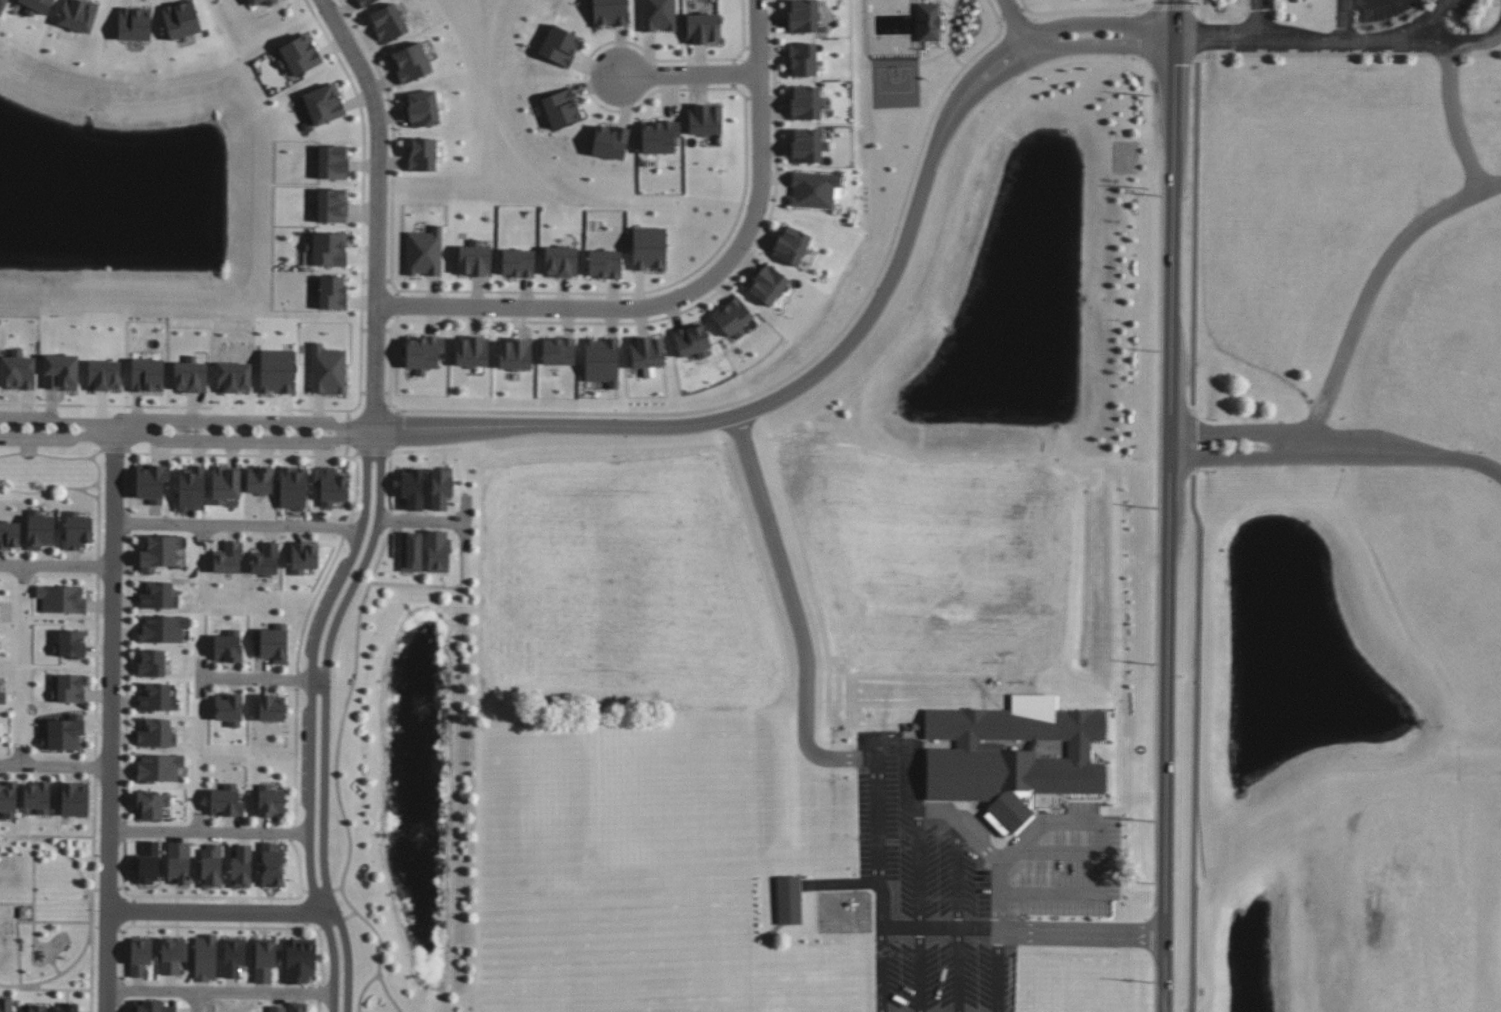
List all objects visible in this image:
building: (365, 2)
road: (1354, 2)
building: (254, 4)
building: (38, 5)
building: (2, 6)
road: (1202, 9)
building: (609, 13)
building: (78, 15)
building: (658, 15)
building: (803, 16)
road: (1346, 18)
building: (181, 19)
road: (1261, 19)
building: (928, 22)
road: (1014, 22)
building: (388, 23)
building: (134, 24)
building: (702, 28)
road: (1318, 38)
road: (1199, 39)
road: (1445, 41)
building: (559, 45)
building: (299, 55)
building: (802, 59)
building: (410, 62)
road: (691, 67)
building: (805, 102)
building: (324, 104)
building: (561, 108)
building: (422, 109)
building: (704, 119)
building: (659, 136)
building: (610, 142)
building: (807, 146)
building: (422, 154)
building: (332, 162)
building: (813, 189)
building: (332, 205)
road: (377, 219)
road: (1410, 232)
building: (791, 245)
building: (649, 248)
building: (328, 249)
building: (424, 252)
building: (474, 259)
building: (560, 261)
building: (518, 263)
building: (604, 264)
building: (767, 285)
road: (688, 288)
building: (332, 292)
building: (734, 318)
building: (692, 340)
road: (838, 349)
building: (471, 351)
building: (558, 351)
building: (423, 353)
building: (515, 354)
building: (647, 355)
building: (602, 361)
building: (327, 370)
building: (17, 371)
building: (277, 371)
building: (60, 372)
building: (104, 375)
building: (147, 375)
building: (190, 375)
building: (234, 377)
parking lot: (26, 416)
parking lot: (214, 420)
road: (48, 421)
road: (245, 425)
road: (119, 430)
road: (348, 434)
road: (48, 436)
road: (244, 439)
parking lot: (34, 441)
parking lot: (246, 444)
road: (1338, 446)
road: (114, 449)
road: (347, 451)
road: (373, 451)
road: (273, 454)
road: (355, 454)
road: (51, 456)
building: (260, 482)
road: (130, 484)
building: (149, 484)
building: (226, 485)
building: (441, 487)
road: (50, 488)
building: (190, 488)
building: (330, 488)
building: (412, 488)
building: (291, 491)
road: (90, 493)
road: (1171, 505)
road: (98, 507)
road: (393, 520)
road: (423, 521)
road: (467, 521)
road: (129, 522)
road: (239, 526)
building: (75, 529)
building: (37, 531)
road: (345, 531)
road: (203, 533)
building: (10, 535)
road: (1198, 535)
building: (410, 551)
building: (438, 551)
building: (159, 553)
building: (304, 557)
building: (229, 558)
building: (265, 560)
road: (98, 566)
road: (56, 567)
road: (24, 575)
road: (436, 586)
building: (160, 593)
building: (62, 600)
road: (312, 604)
parking lot: (324, 605)
building: (162, 629)
building: (228, 643)
building: (68, 644)
building: (273, 644)
building: (154, 662)
road: (96, 667)
road: (808, 676)
road: (127, 677)
building: (0, 678)
road: (203, 678)
road: (265, 679)
road: (297, 680)
building: (69, 690)
building: (157, 697)
building: (3, 698)
building: (272, 707)
building: (229, 709)
road: (110, 721)
road: (325, 727)
road: (312, 728)
building: (156, 734)
building: (62, 736)
road: (873, 751)
building: (1013, 754)
road: (21, 756)
parking lot: (306, 756)
road: (296, 757)
road: (915, 759)
road: (55, 766)
road: (95, 768)
building: (158, 769)
road: (336, 776)
building: (36, 797)
building: (73, 798)
building: (8, 799)
building: (225, 800)
building: (270, 803)
building: (151, 805)
road: (200, 823)
building: (996, 823)
road: (125, 831)
parking lot: (922, 831)
road: (211, 833)
road: (292, 833)
road: (46, 836)
fountain: (400, 837)
road: (3, 839)
road: (1102, 849)
road: (988, 850)
road: (72, 861)
building: (149, 862)
building: (179, 862)
building: (211, 865)
building: (241, 865)
building: (272, 865)
road: (919, 872)
road: (121, 889)
road: (302, 889)
road: (34, 890)
road: (108, 890)
road: (337, 890)
road: (95, 891)
road: (319, 891)
road: (91, 893)
road: (305, 893)
road: (163, 897)
road: (134, 900)
building: (788, 900)
road: (16, 905)
road: (222, 911)
park: (46, 912)
building: (25, 913)
road: (134, 915)
road: (958, 915)
road: (351, 917)
road: (54, 923)
road: (333, 924)
road: (95, 927)
road: (204, 927)
road: (112, 928)
road: (312, 930)
road: (887, 930)
road: (319, 931)
road: (1083, 935)
road: (18, 946)
road: (122, 947)
building: (172, 953)
parking lot: (952, 955)
building: (140, 956)
building: (233, 957)
building: (205, 958)
building: (265, 960)
building: (300, 961)
road: (56, 968)
road: (68, 969)
road: (881, 970)
road: (999, 972)
road: (219, 985)
road: (45, 990)
road: (364, 990)
road: (220, 993)
road: (319, 996)
road: (198, 1002)
building: (5, 1005)
building: (151, 1005)
road: (121, 1006)
building: (299, 1006)
building: (67, 1008)
building: (277, 1008)
road: (318, 1008)
building: (37, 1009)

